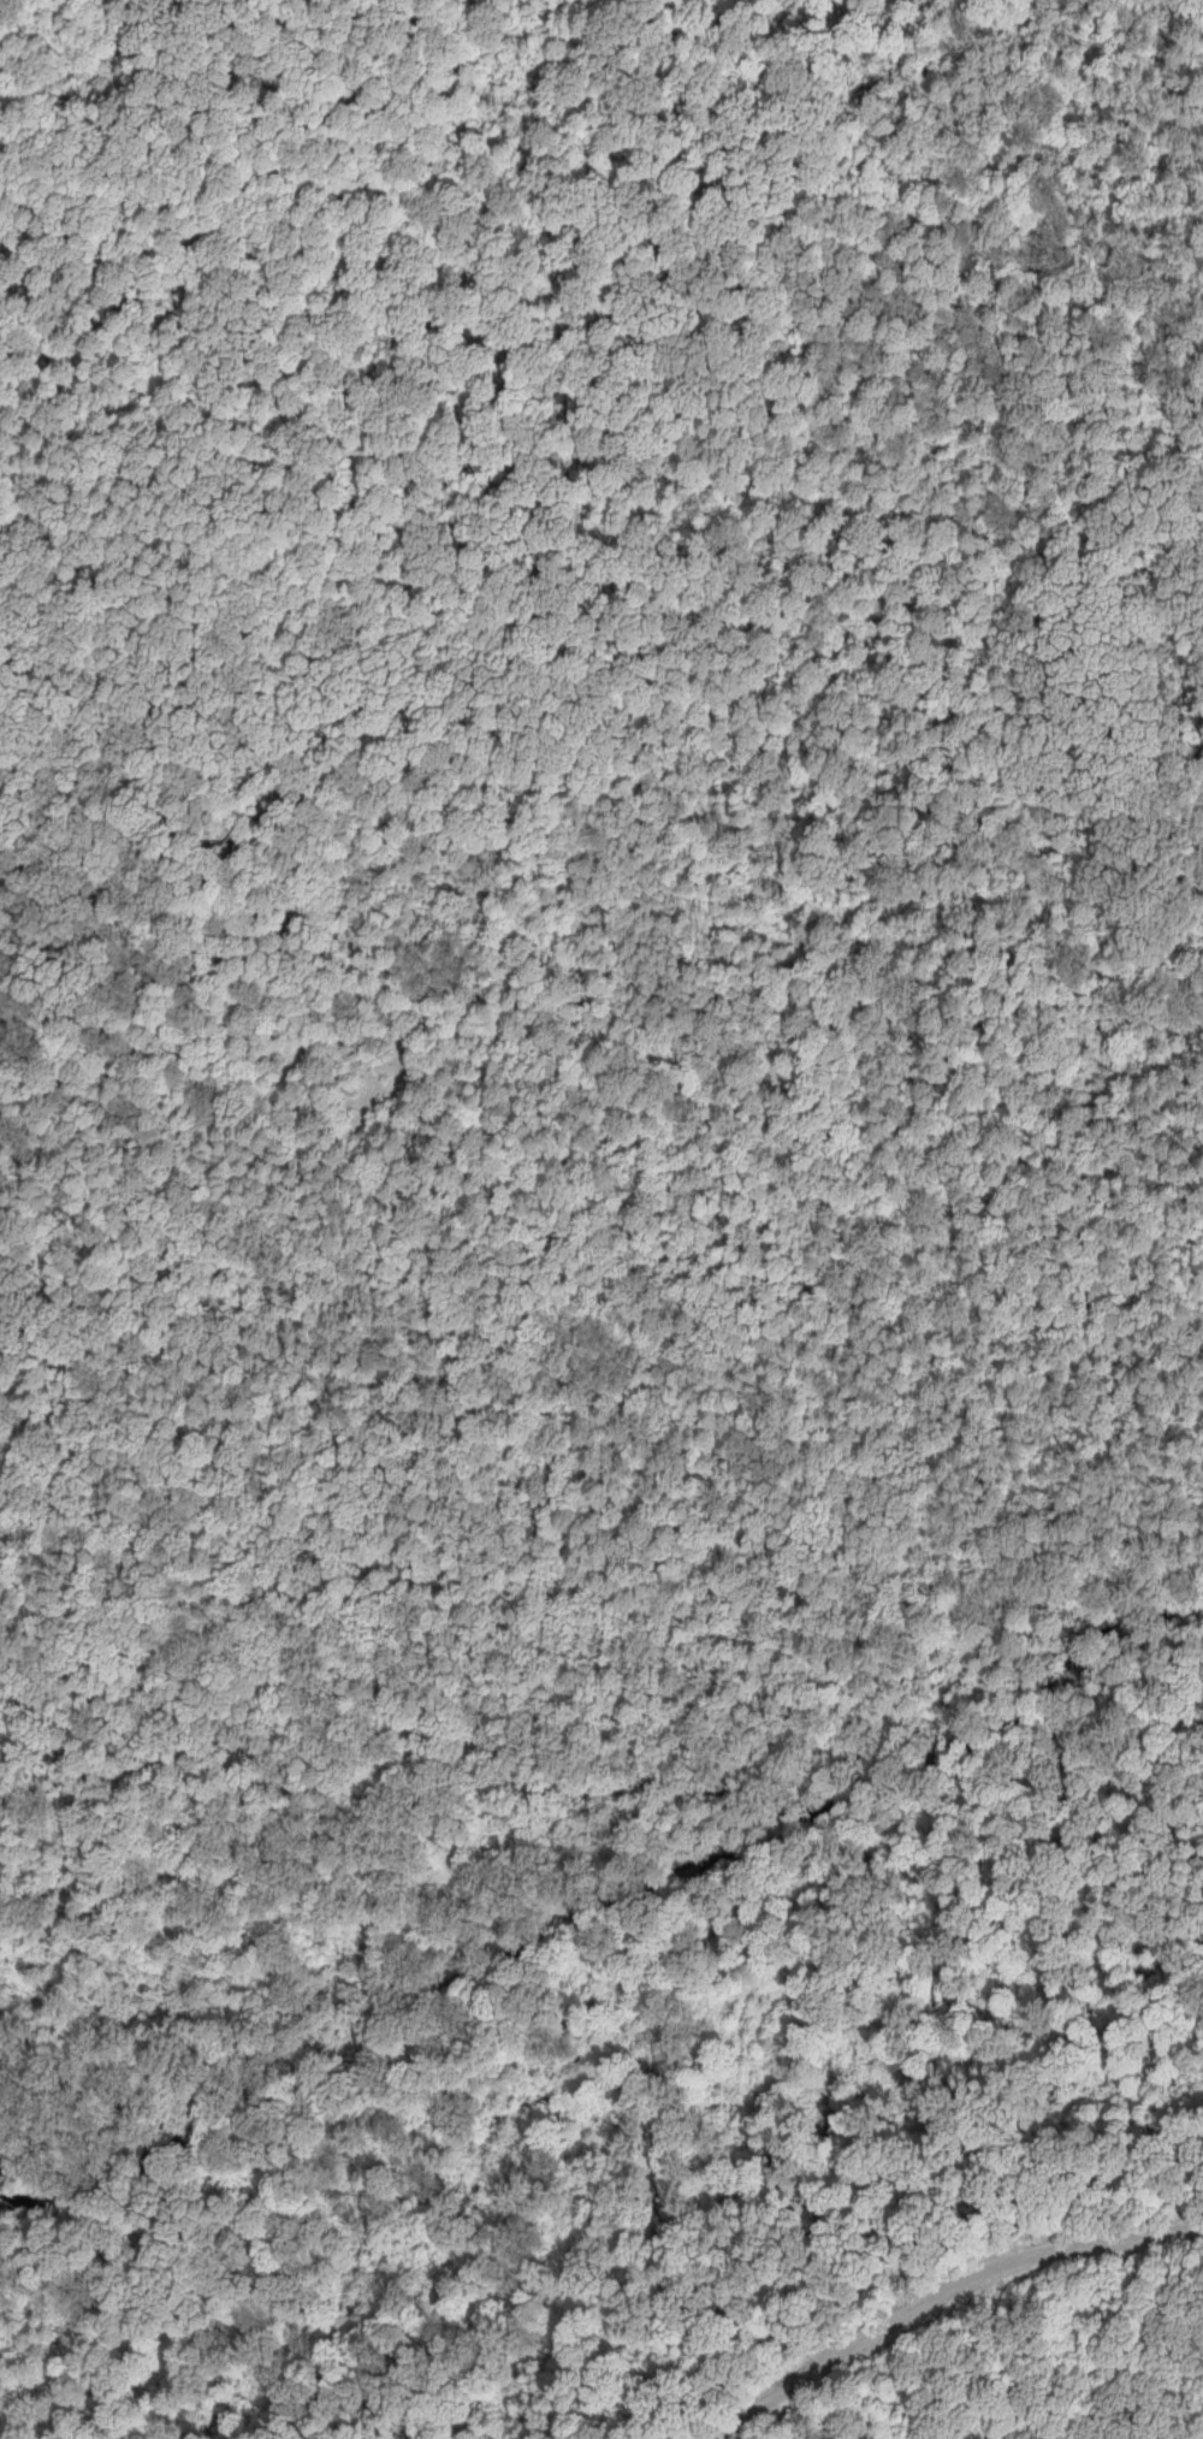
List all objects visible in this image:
road: (943, 2293)

